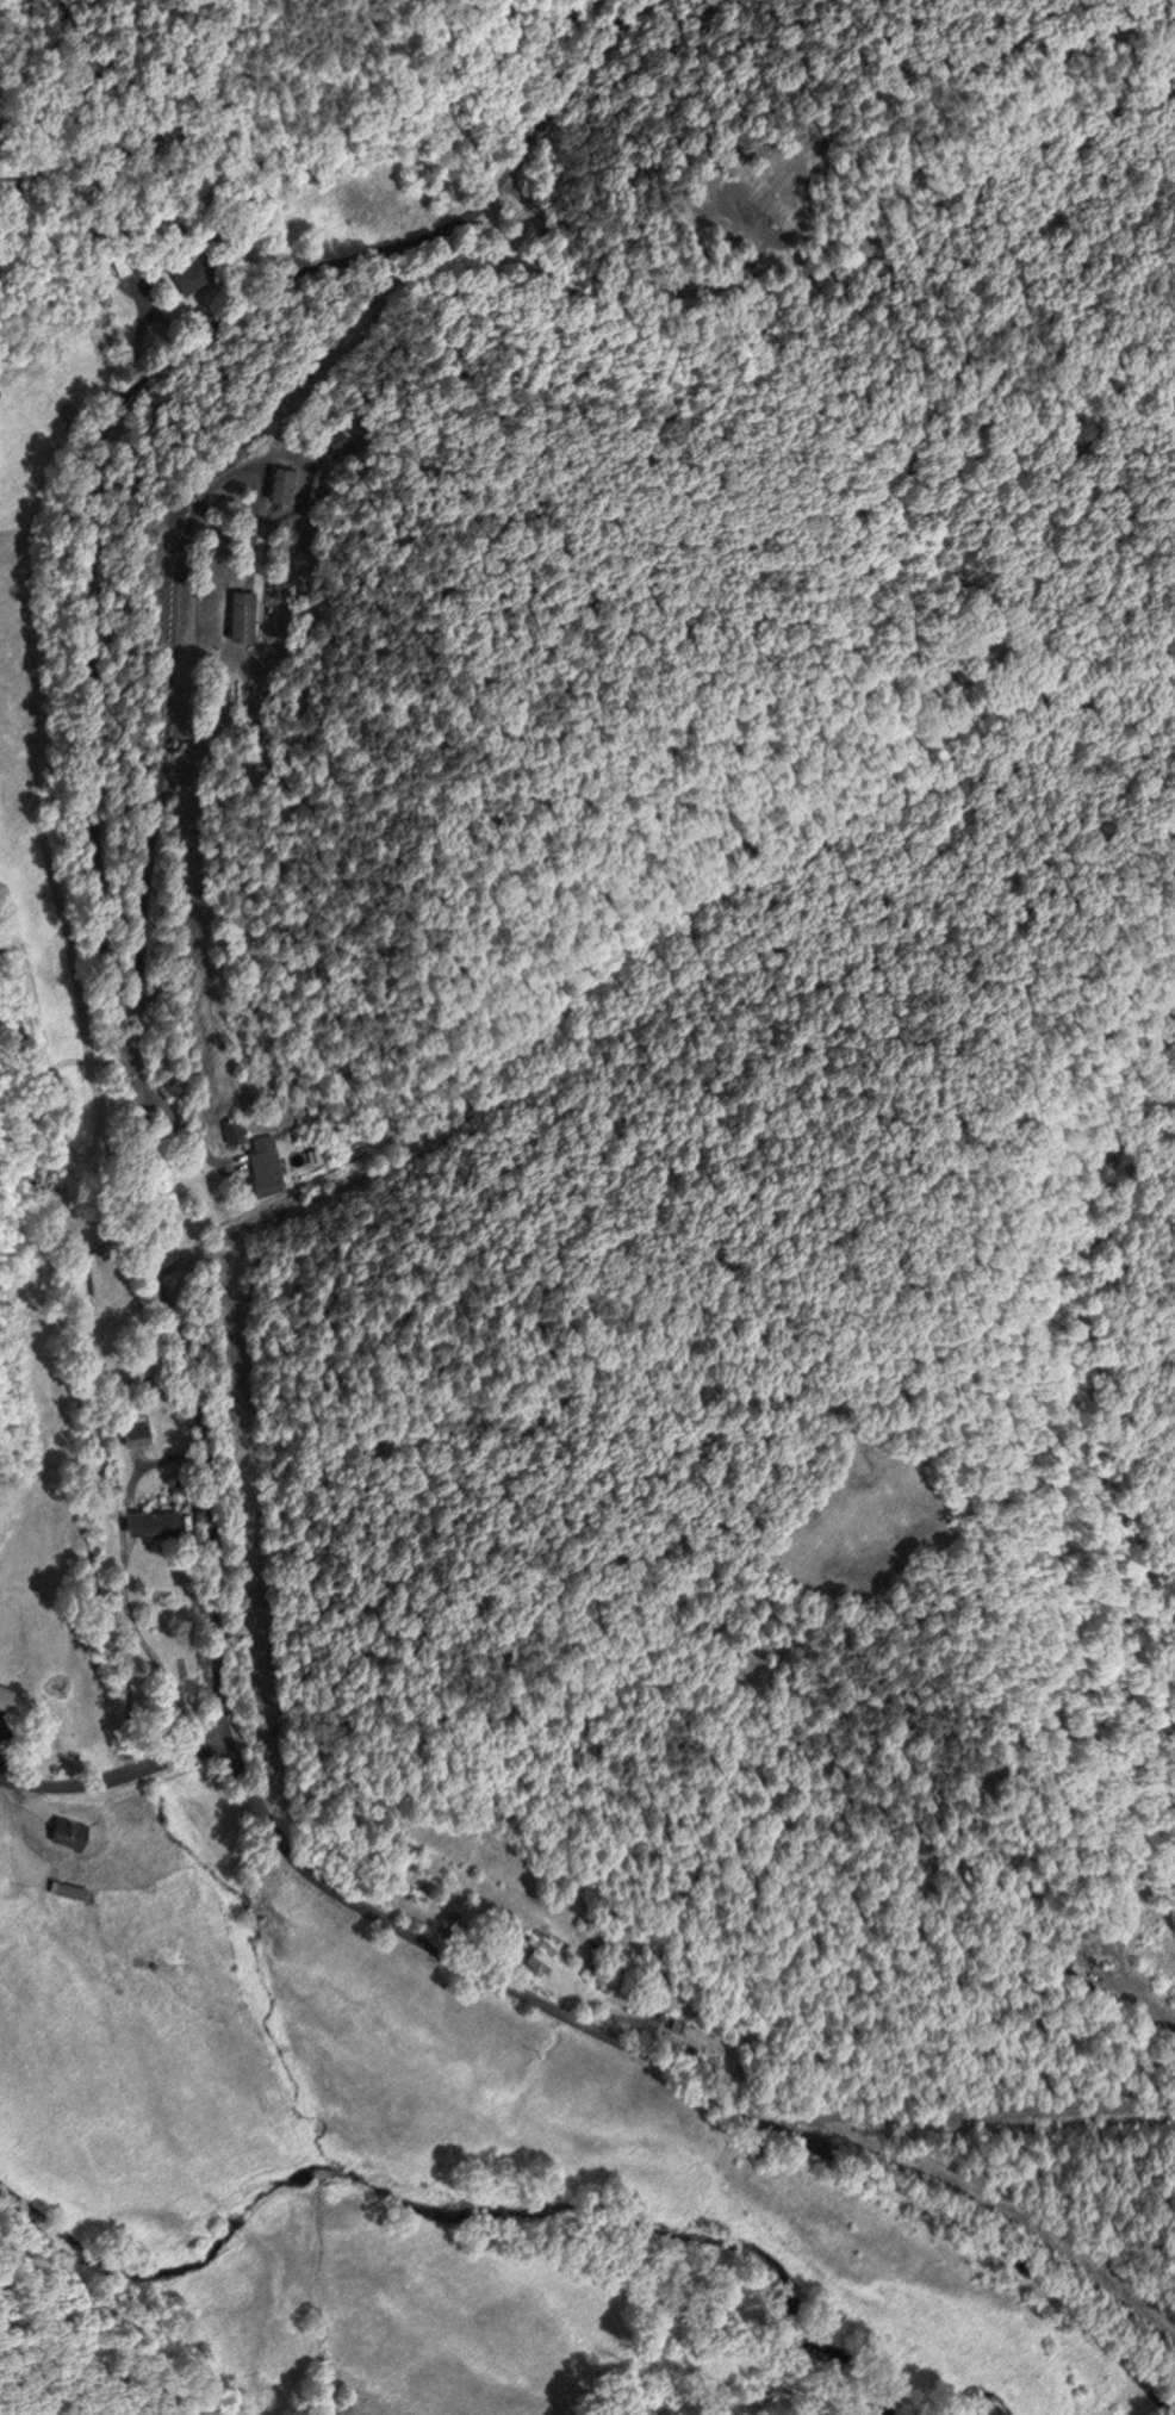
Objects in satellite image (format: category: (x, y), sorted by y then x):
building: (164, 134)
building: (193, 272)
building: (280, 484)
building: (238, 611)
road: (99, 734)
building: (229, 1131)
building: (263, 1166)
building: (92, 1271)
building: (148, 1520)
building: (1, 1697)
road: (117, 1775)
building: (61, 1830)
building: (535, 1953)
building: (692, 2035)
road: (688, 2075)

